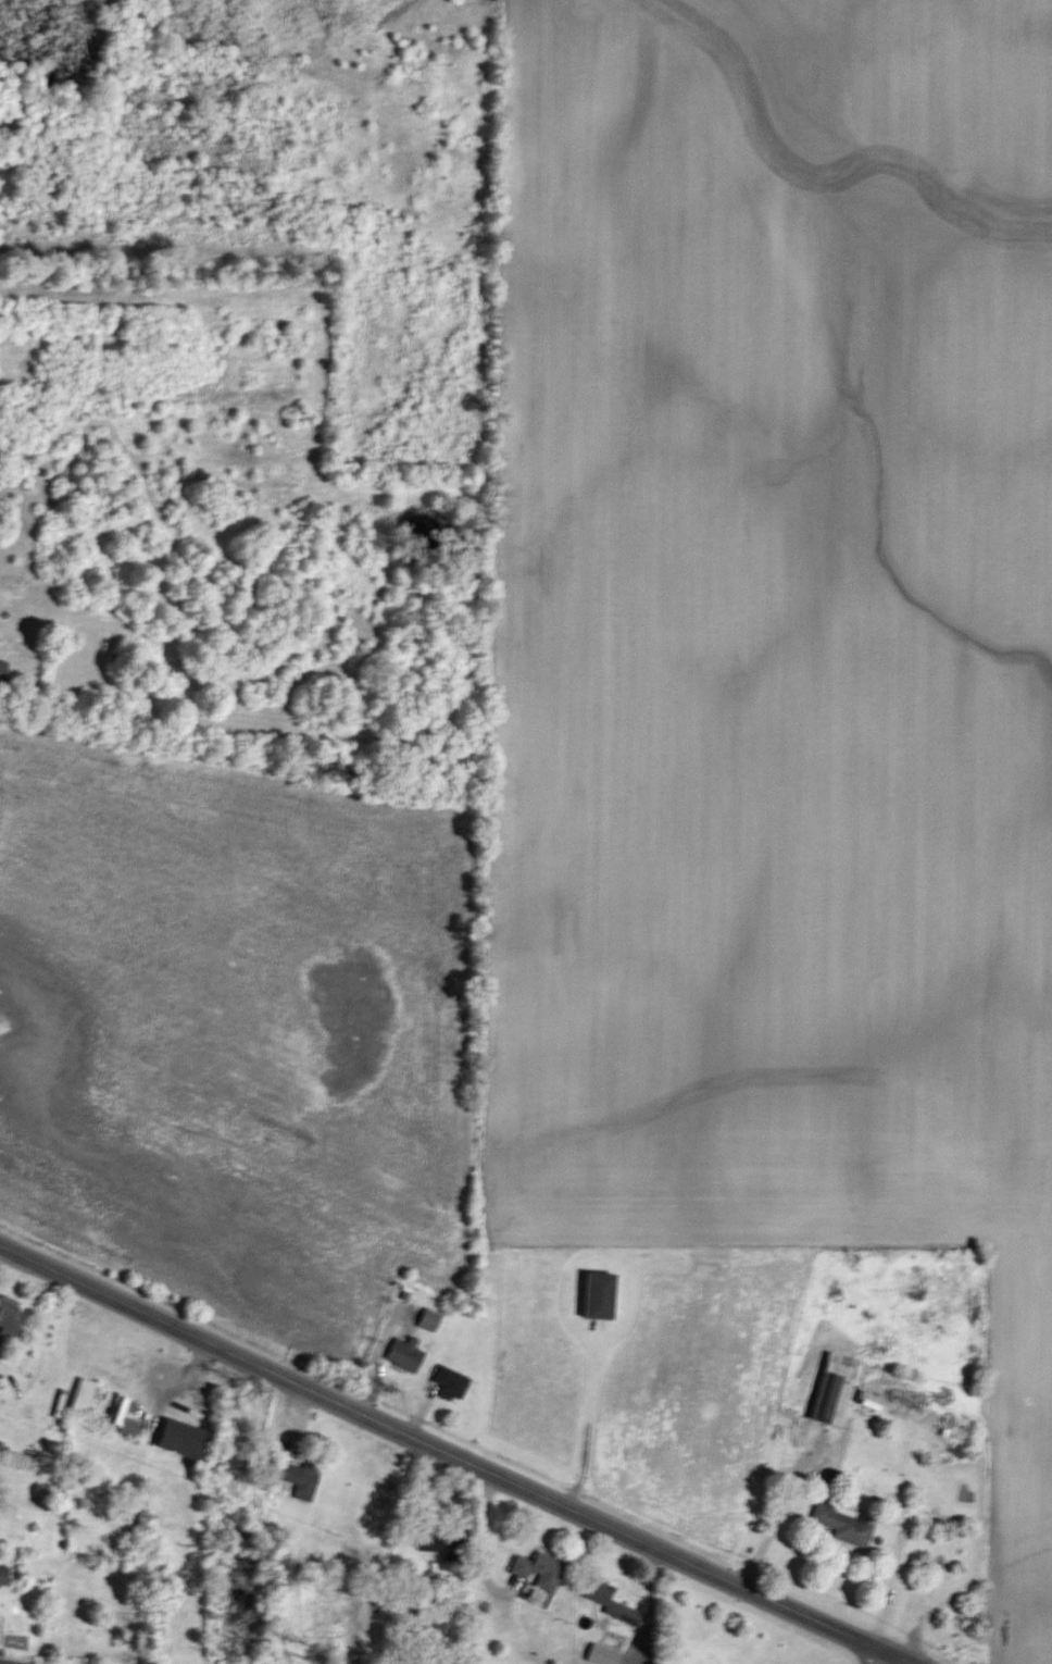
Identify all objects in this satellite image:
building: (594, 1294)
building: (8, 1314)
building: (427, 1319)
building: (403, 1354)
building: (448, 1382)
building: (830, 1389)
building: (890, 1395)
building: (80, 1396)
building: (177, 1438)
road: (455, 1457)
building: (296, 1478)
road: (782, 1508)
building: (836, 1520)
road: (899, 1529)
building: (428, 1543)
building: (535, 1569)
building: (3, 1575)
building: (609, 1602)
building: (599, 1654)
road: (873, 1654)

